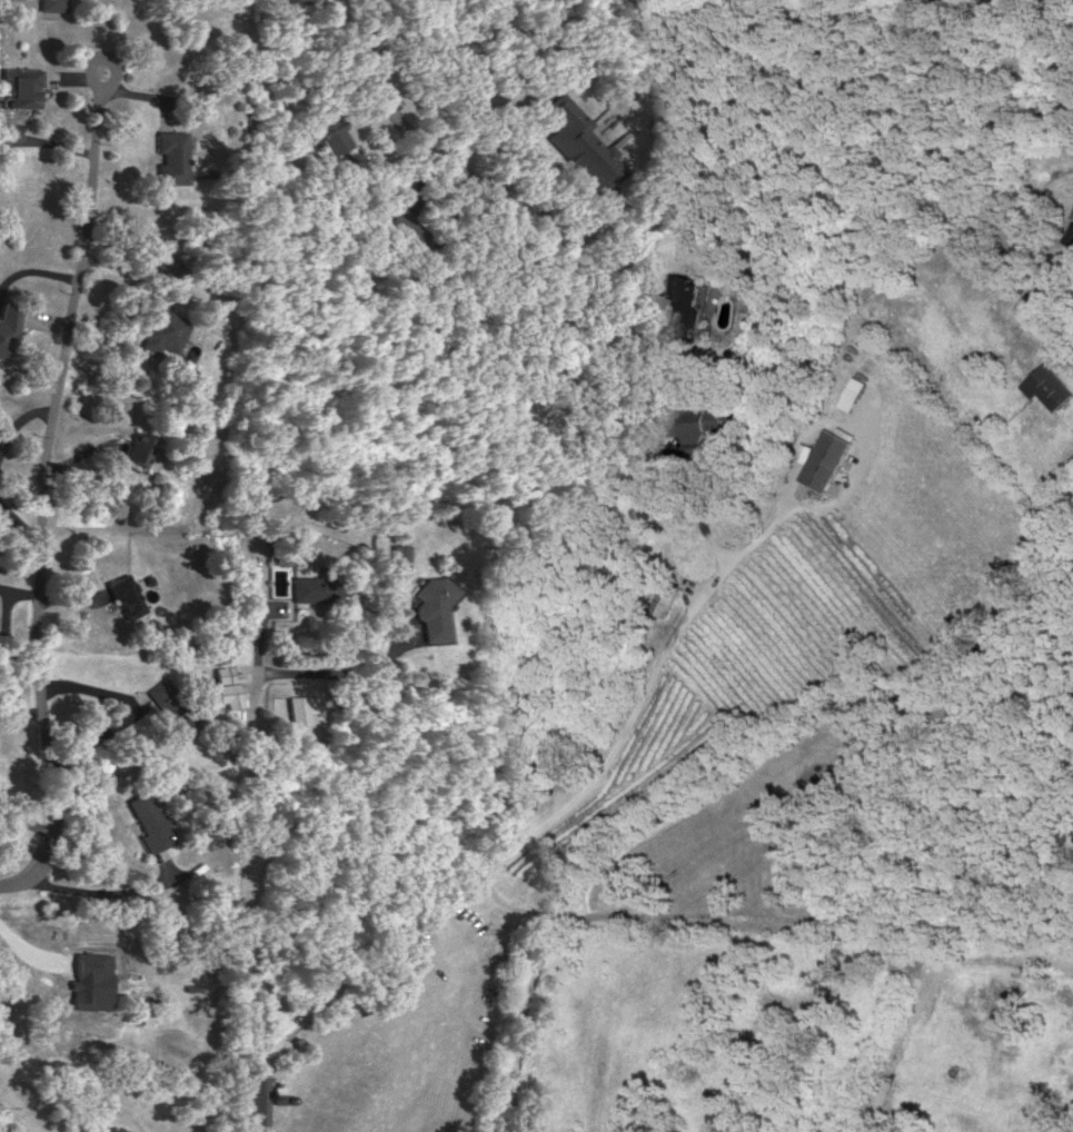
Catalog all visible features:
building: (296, 1)
building: (54, 3)
road: (99, 61)
building: (330, 130)
building: (582, 145)
building: (172, 155)
building: (399, 190)
building: (400, 228)
road: (542, 232)
building: (1071, 236)
road: (614, 295)
building: (686, 301)
building: (9, 327)
building: (163, 329)
building: (1050, 385)
building: (854, 393)
building: (660, 409)
building: (701, 421)
building: (137, 447)
building: (827, 456)
road: (36, 502)
building: (280, 546)
building: (312, 587)
road: (12, 594)
building: (127, 595)
building: (431, 609)
building: (228, 686)
building: (172, 705)
building: (298, 707)
road: (17, 708)
building: (148, 821)
road: (235, 823)
road: (545, 824)
road: (109, 897)
building: (90, 981)
building: (138, 1010)
building: (258, 1099)
road: (6, 1126)

